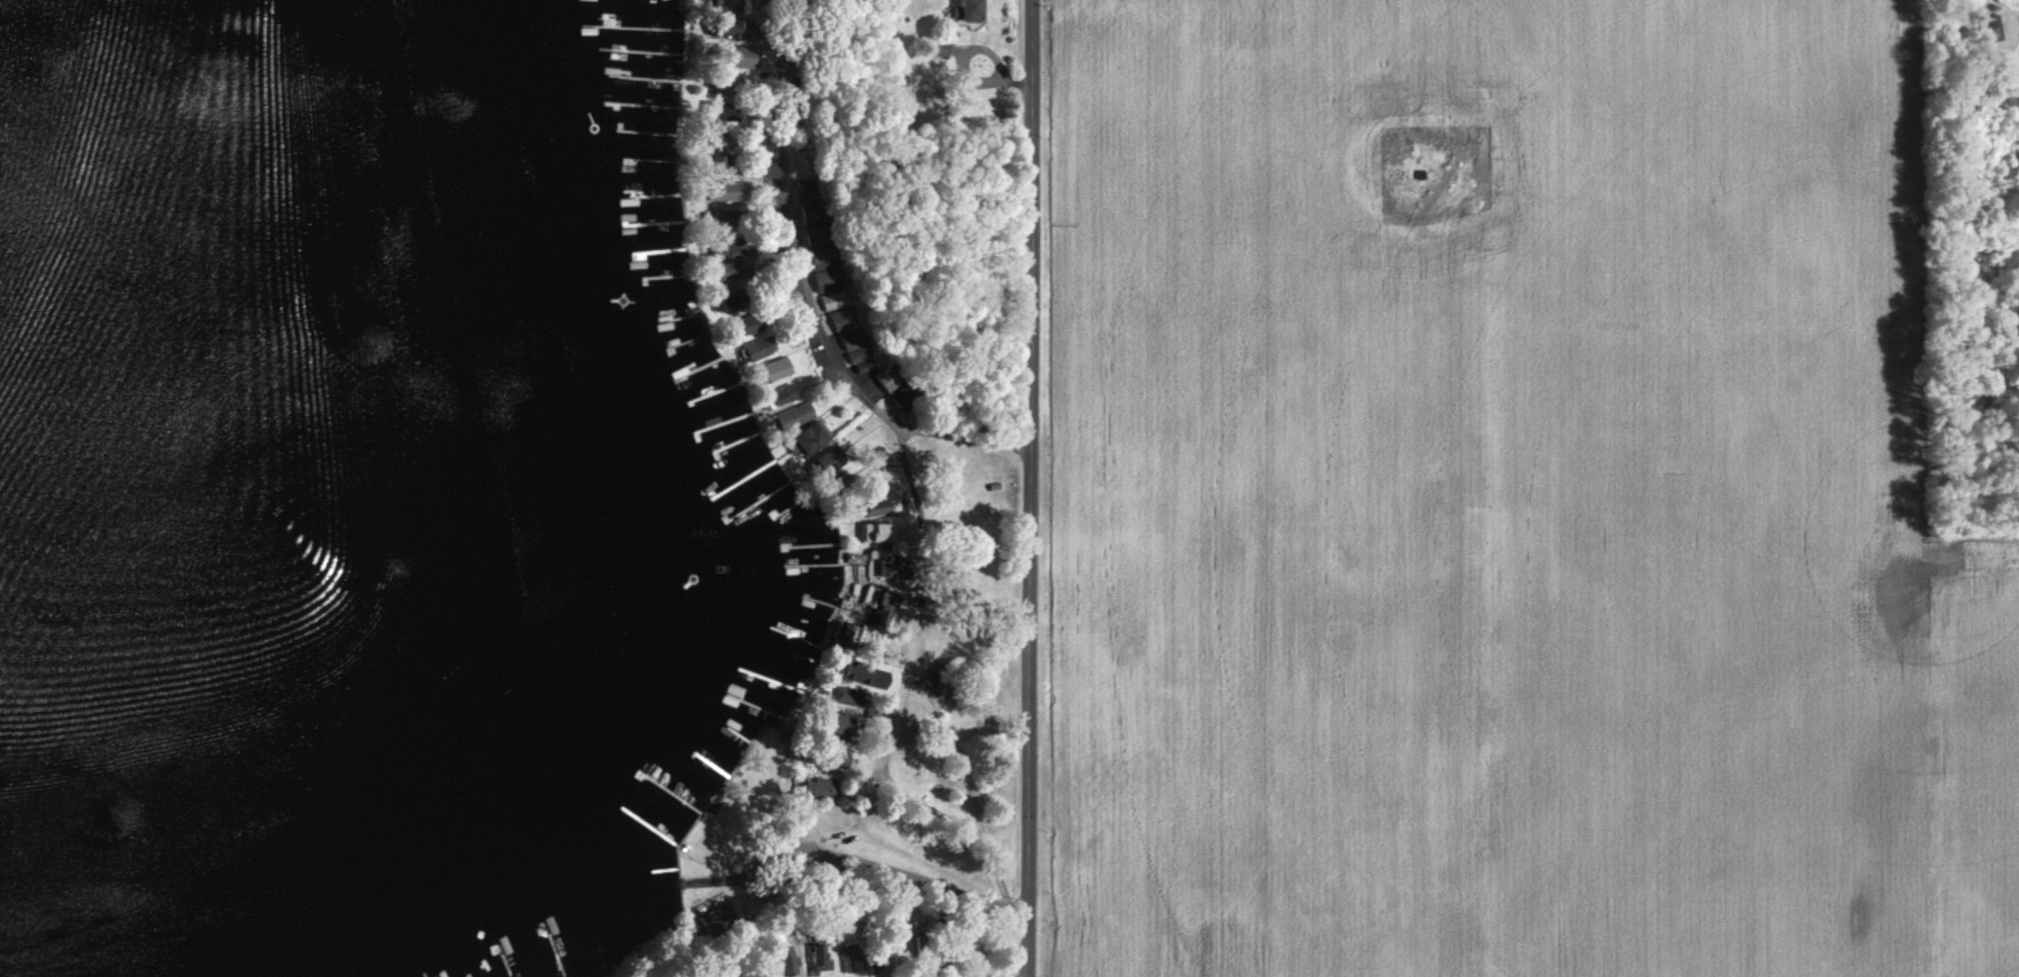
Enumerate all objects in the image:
building: (723, 4)
building: (969, 10)
building: (1989, 26)
building: (734, 28)
building: (742, 57)
building: (721, 165)
building: (770, 170)
building: (726, 191)
building: (734, 260)
building: (828, 280)
building: (749, 324)
building: (851, 334)
building: (757, 348)
road: (832, 349)
building: (773, 369)
building: (891, 375)
building: (781, 395)
building: (794, 415)
building: (812, 436)
road: (962, 438)
road: (1029, 488)
building: (878, 506)
building: (879, 531)
building: (894, 567)
building: (884, 609)
road: (951, 610)
road: (910, 661)
building: (864, 675)
building: (847, 697)
building: (842, 727)
building: (844, 758)
building: (821, 787)
road: (920, 807)
road: (975, 820)
building: (716, 919)
building: (818, 959)
building: (787, 961)
building: (857, 963)

